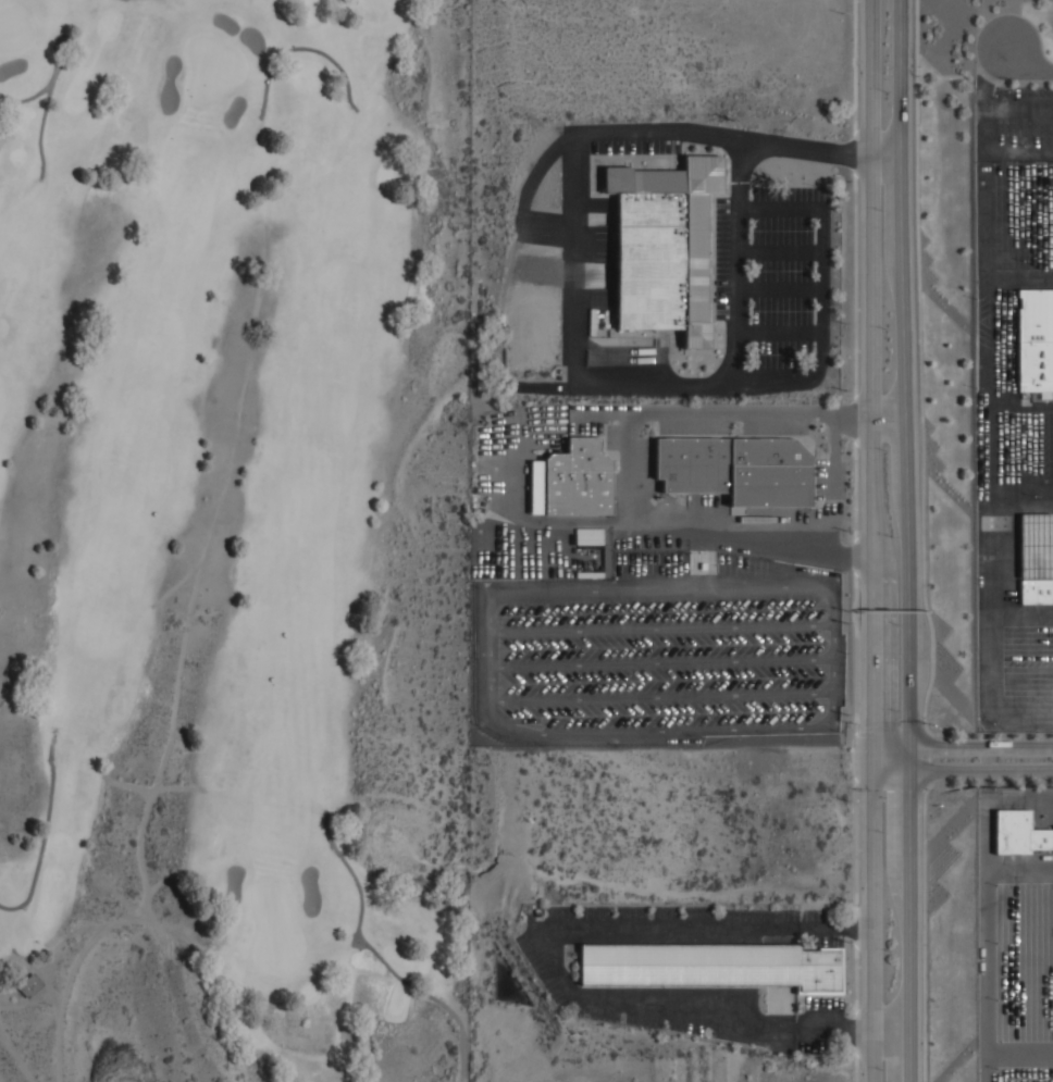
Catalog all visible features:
road: (1035, 71)
road: (986, 100)
parking lot: (1013, 123)
road: (639, 130)
parking lot: (635, 146)
road: (782, 252)
building: (694, 257)
building: (649, 260)
parking lot: (773, 276)
road: (782, 289)
road: (823, 289)
road: (782, 332)
building: (1036, 339)
road: (906, 374)
road: (874, 383)
road: (655, 387)
road: (891, 416)
parking lot: (1013, 446)
building: (739, 470)
building: (580, 478)
park: (232, 540)
building: (1036, 558)
road: (924, 652)
parking lot: (658, 666)
traffic signals: (877, 726)
road: (965, 749)
road: (965, 767)
traffic signals: (910, 789)
building: (1019, 833)
road: (910, 916)
road: (875, 924)
parking lot: (1014, 933)
road: (379, 956)
building: (709, 965)
building: (29, 985)
road: (892, 1030)

